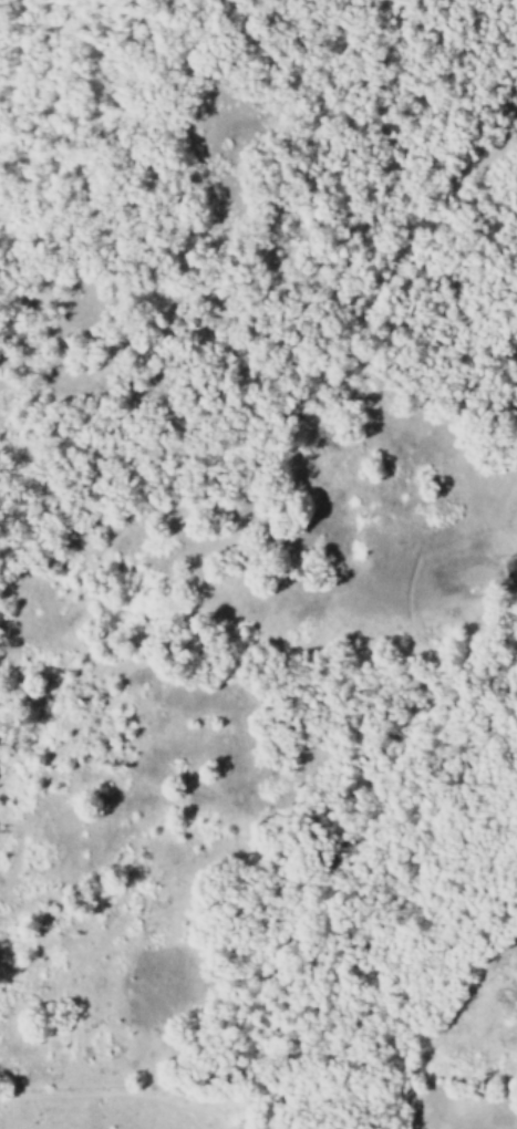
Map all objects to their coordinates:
road: (513, 568)

